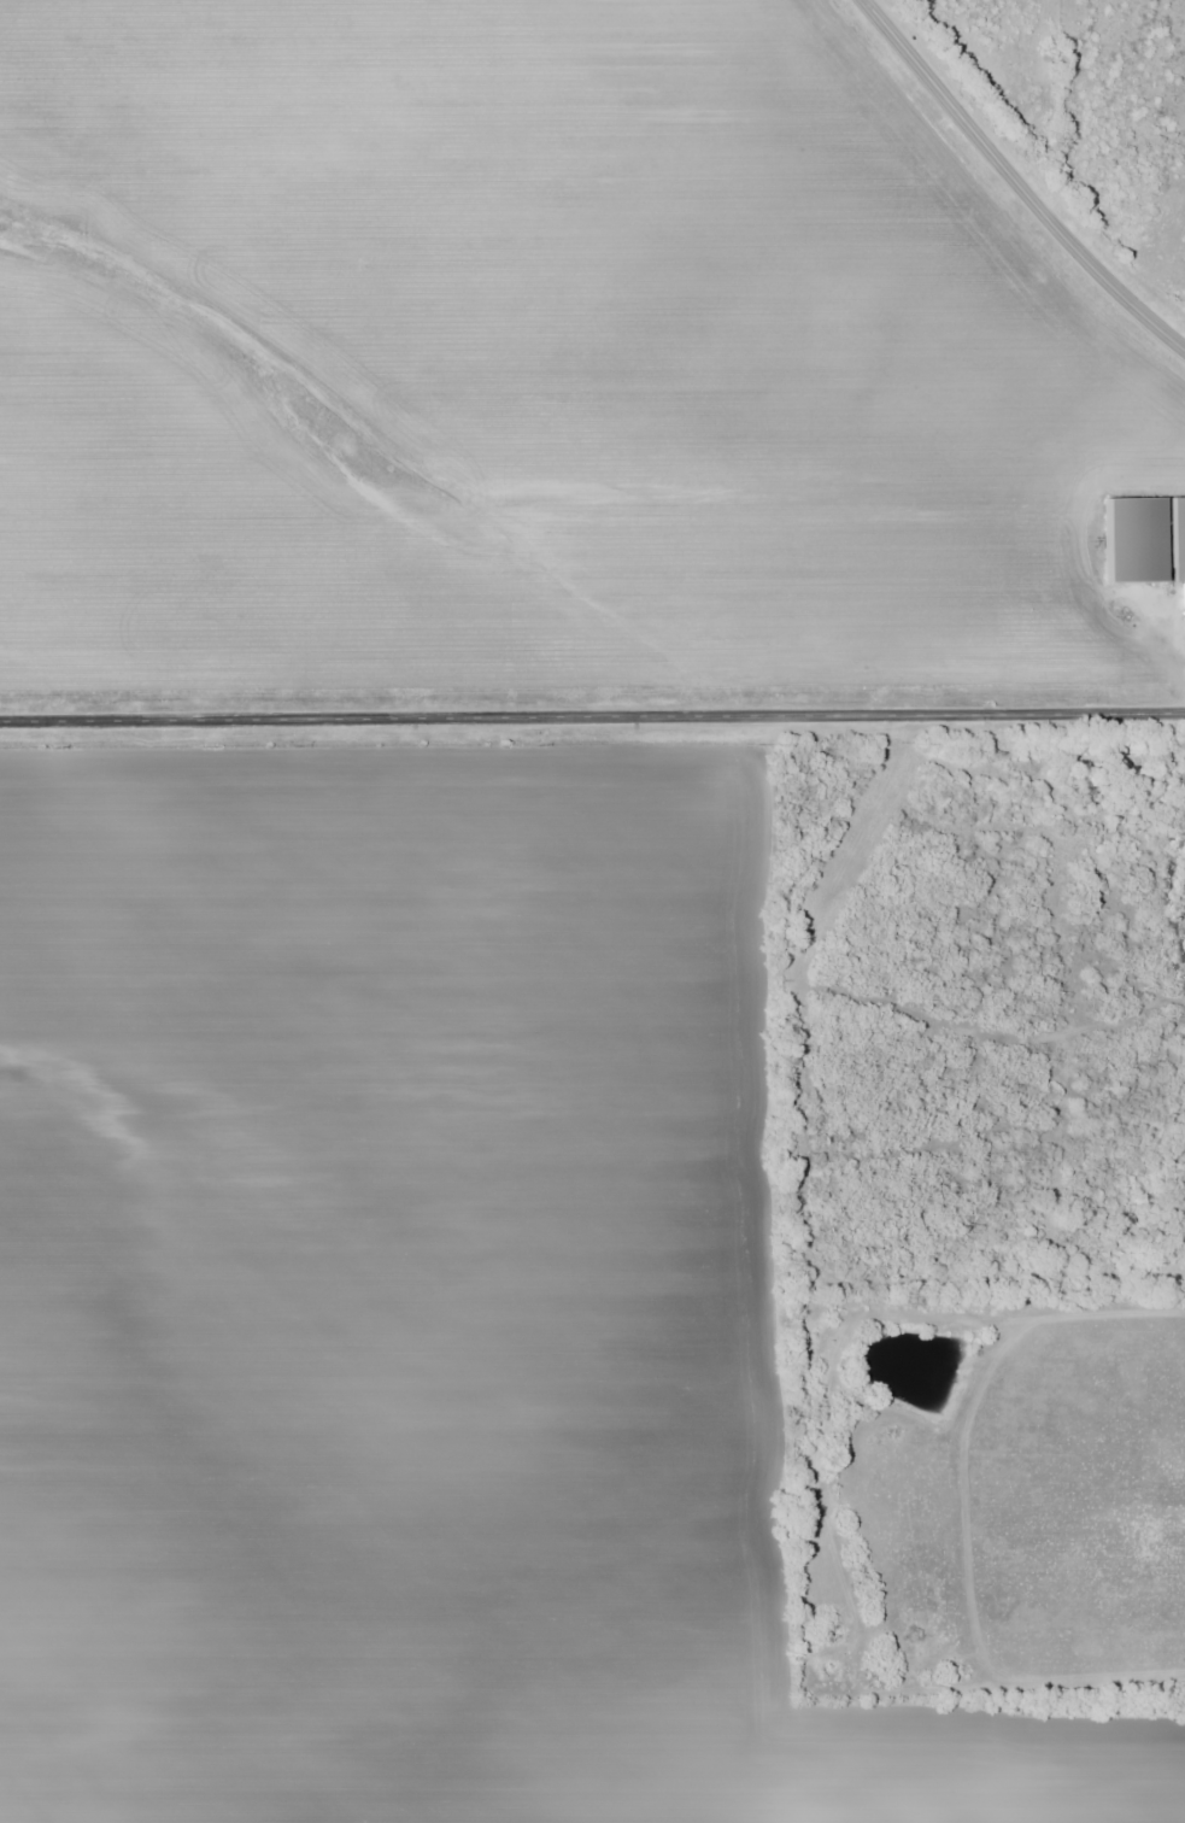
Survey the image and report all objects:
road: (1015, 183)
building: (1179, 538)
road: (592, 717)

